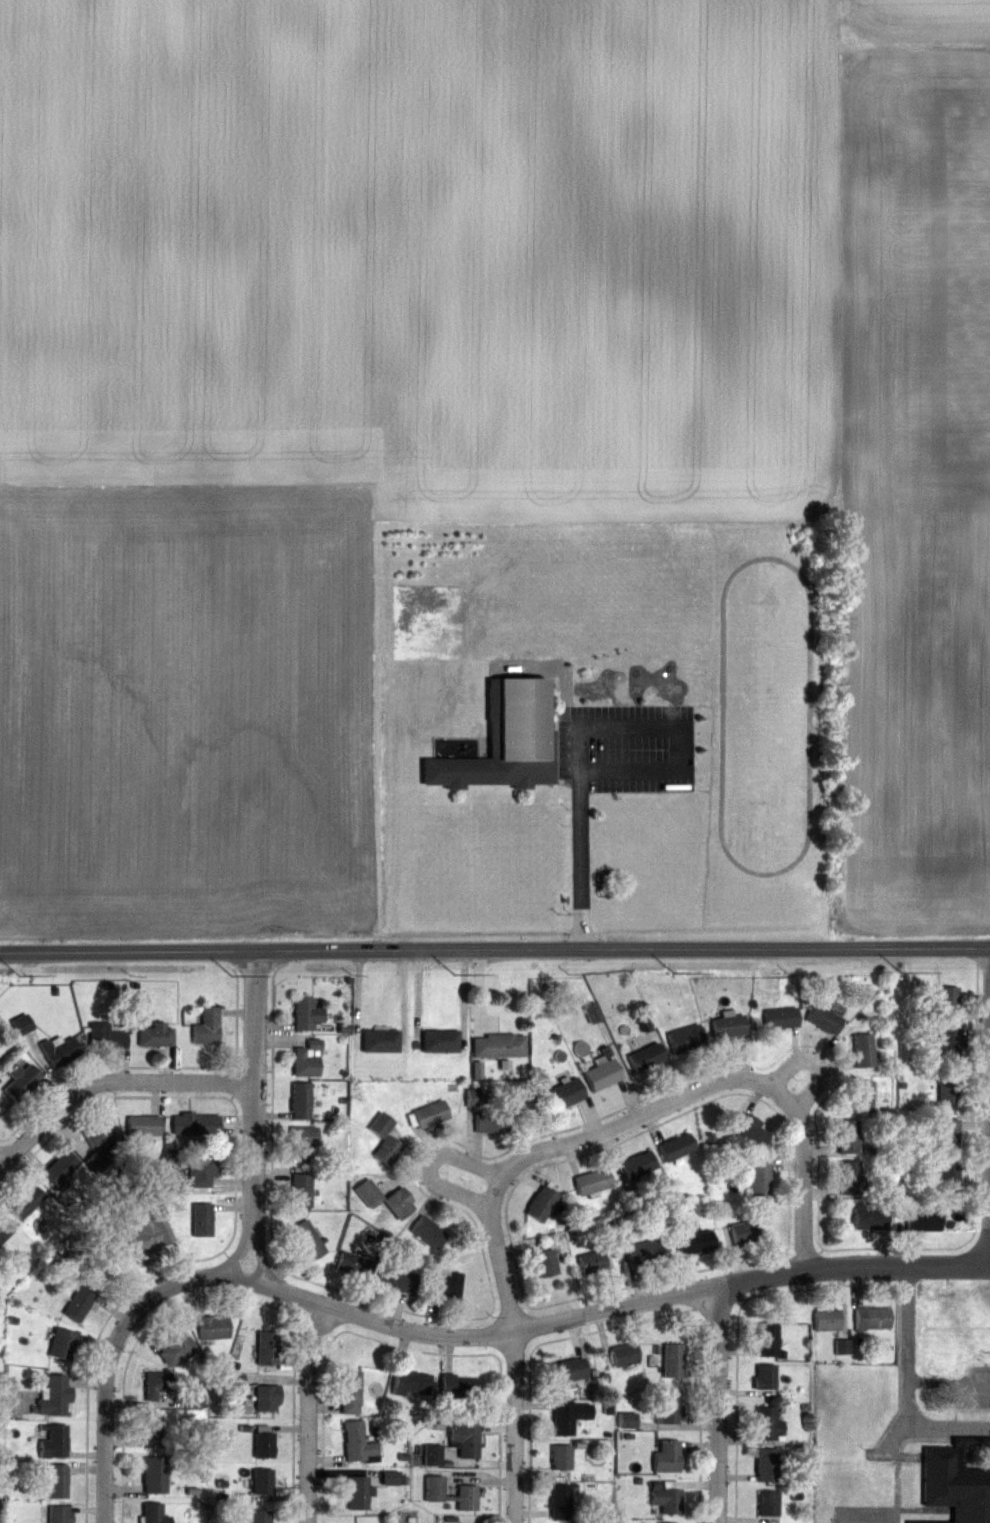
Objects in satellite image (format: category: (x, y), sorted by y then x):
road: (590, 729)
building: (505, 741)
road: (624, 949)
road: (129, 951)
building: (947, 999)
building: (305, 1014)
building: (779, 1018)
building: (822, 1019)
building: (20, 1024)
building: (206, 1027)
building: (727, 1027)
building: (154, 1035)
building: (105, 1037)
building: (684, 1039)
building: (380, 1041)
building: (439, 1041)
building: (948, 1044)
building: (498, 1045)
building: (59, 1050)
building: (862, 1051)
building: (645, 1057)
building: (306, 1060)
building: (601, 1074)
building: (19, 1081)
road: (111, 1082)
road: (256, 1082)
building: (947, 1087)
building: (564, 1093)
building: (862, 1096)
building: (475, 1097)
building: (299, 1101)
road: (987, 1106)
building: (429, 1115)
building: (490, 1121)
building: (194, 1123)
building: (142, 1125)
road: (613, 1129)
building: (749, 1131)
building: (99, 1133)
building: (946, 1135)
building: (847, 1137)
building: (301, 1138)
building: (383, 1140)
building: (674, 1147)
road: (432, 1164)
road: (0, 1165)
building: (637, 1165)
building: (201, 1168)
building: (60, 1169)
road: (803, 1174)
building: (849, 1177)
building: (758, 1179)
building: (947, 1179)
building: (591, 1182)
building: (300, 1190)
building: (367, 1193)
building: (25, 1201)
building: (398, 1203)
building: (540, 1203)
building: (869, 1218)
building: (201, 1219)
building: (922, 1219)
building: (3, 1231)
building: (427, 1232)
building: (742, 1232)
building: (142, 1239)
building: (307, 1240)
building: (694, 1242)
road: (244, 1243)
road: (257, 1249)
building: (641, 1251)
building: (102, 1259)
building: (591, 1262)
building: (545, 1263)
building: (353, 1264)
road: (988, 1265)
building: (397, 1280)
building: (446, 1285)
building: (78, 1303)
road: (624, 1306)
building: (871, 1318)
building: (825, 1319)
building: (212, 1327)
building: (767, 1340)
road: (117, 1341)
building: (61, 1343)
building: (176, 1347)
building: (266, 1348)
building: (623, 1355)
building: (672, 1360)
building: (568, 1370)
building: (764, 1377)
building: (234, 1382)
building: (410, 1383)
road: (904, 1384)
building: (156, 1386)
building: (458, 1387)
building: (349, 1392)
building: (54, 1396)
building: (267, 1398)
building: (195, 1399)
road: (719, 1404)
building: (668, 1407)
road: (307, 1412)
building: (569, 1416)
building: (767, 1425)
road: (517, 1426)
building: (150, 1431)
building: (464, 1440)
building: (53, 1442)
building: (357, 1443)
building: (432, 1456)
building: (666, 1456)
building: (560, 1457)
building: (766, 1466)
building: (153, 1475)
building: (57, 1481)
building: (261, 1481)
building: (955, 1485)
building: (433, 1486)
building: (357, 1492)
building: (466, 1498)
building: (665, 1498)
building: (559, 1501)
building: (767, 1503)
building: (153, 1513)
building: (58, 1514)
building: (259, 1516)

